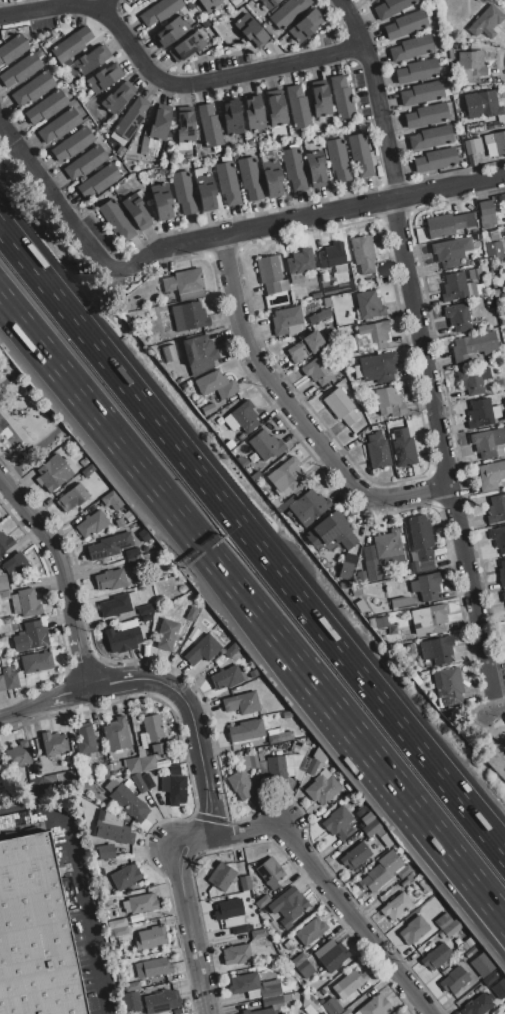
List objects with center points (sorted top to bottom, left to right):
building: (369, 0)
building: (371, 0)
building: (478, 1)
building: (268, 3)
building: (208, 4)
road: (107, 5)
building: (190, 6)
building: (391, 7)
road: (52, 9)
building: (159, 11)
building: (288, 12)
building: (486, 22)
building: (406, 24)
building: (305, 26)
building: (172, 31)
building: (252, 31)
road: (357, 31)
building: (71, 45)
building: (187, 46)
building: (412, 48)
building: (12, 49)
building: (89, 61)
building: (471, 66)
building: (20, 70)
building: (418, 70)
building: (103, 78)
road: (218, 79)
building: (33, 89)
road: (376, 91)
building: (423, 93)
building: (342, 97)
building: (116, 99)
building: (320, 99)
building: (482, 104)
building: (46, 107)
building: (298, 107)
building: (460, 108)
building: (276, 110)
building: (254, 114)
building: (427, 115)
building: (132, 118)
building: (231, 118)
building: (160, 122)
building: (59, 125)
building: (185, 125)
building: (209, 126)
building: (469, 128)
building: (431, 137)
building: (488, 139)
building: (499, 142)
building: (72, 144)
building: (477, 144)
building: (149, 147)
building: (469, 147)
building: (491, 150)
building: (360, 155)
road: (390, 158)
building: (338, 160)
building: (436, 160)
building: (85, 162)
building: (293, 168)
building: (316, 168)
building: (249, 178)
building: (272, 178)
building: (99, 181)
building: (228, 183)
building: (205, 190)
building: (183, 192)
building: (161, 201)
road: (58, 204)
building: (486, 208)
building: (136, 212)
road: (305, 219)
building: (116, 220)
building: (469, 220)
building: (459, 222)
building: (440, 226)
building: (421, 234)
building: (477, 237)
building: (494, 251)
building: (447, 253)
building: (362, 256)
building: (333, 258)
building: (299, 265)
building: (492, 268)
building: (268, 270)
building: (474, 274)
building: (184, 284)
building: (283, 285)
building: (457, 287)
building: (271, 288)
building: (316, 295)
building: (369, 305)
building: (188, 316)
building: (458, 317)
building: (287, 321)
building: (371, 337)
building: (306, 347)
building: (473, 347)
building: (200, 354)
building: (378, 369)
building: (317, 371)
building: (473, 379)
building: (211, 382)
building: (229, 389)
building: (389, 403)
building: (341, 407)
building: (208, 409)
road: (295, 413)
building: (483, 413)
building: (245, 417)
building: (389, 426)
building: (489, 444)
building: (266, 446)
building: (403, 448)
road: (444, 448)
building: (378, 452)
building: (88, 471)
building: (291, 474)
building: (49, 475)
building: (490, 476)
road: (152, 482)
building: (73, 498)
building: (111, 499)
building: (308, 507)
building: (496, 510)
building: (92, 524)
building: (332, 532)
building: (419, 539)
building: (498, 539)
road: (250, 541)
building: (5, 543)
road: (56, 549)
building: (103, 549)
building: (383, 553)
building: (132, 554)
building: (134, 562)
building: (14, 563)
building: (425, 566)
building: (414, 567)
building: (346, 570)
building: (502, 572)
building: (110, 580)
building: (426, 586)
building: (3, 588)
building: (356, 592)
building: (503, 597)
building: (26, 603)
building: (118, 604)
building: (401, 604)
building: (362, 606)
building: (146, 610)
building: (192, 614)
building: (148, 618)
building: (429, 620)
building: (381, 623)
building: (167, 635)
building: (31, 637)
building: (127, 639)
building: (202, 650)
building: (231, 650)
building: (437, 650)
building: (36, 662)
road: (84, 663)
building: (225, 677)
building: (10, 679)
building: (2, 684)
road: (113, 685)
building: (448, 687)
road: (68, 692)
building: (242, 703)
road: (24, 708)
building: (287, 715)
building: (134, 720)
building: (247, 730)
building: (116, 735)
building: (154, 735)
building: (275, 738)
building: (84, 740)
road: (198, 740)
building: (52, 743)
building: (300, 748)
building: (18, 754)
building: (319, 755)
building: (146, 762)
building: (250, 762)
building: (1, 764)
building: (304, 764)
building: (133, 765)
building: (261, 767)
building: (312, 767)
building: (276, 768)
building: (299, 775)
building: (72, 779)
building: (63, 780)
building: (148, 781)
building: (50, 783)
building: (139, 784)
building: (240, 785)
building: (37, 786)
building: (322, 787)
building: (177, 790)
building: (129, 803)
road: (405, 809)
building: (367, 819)
building: (339, 823)
building: (371, 828)
building: (113, 832)
building: (385, 837)
building: (106, 852)
building: (356, 856)
building: (404, 872)
building: (270, 873)
building: (125, 876)
building: (221, 876)
building: (372, 879)
building: (245, 883)
building: (404, 883)
road: (83, 884)
road: (331, 892)
building: (262, 901)
building: (106, 902)
building: (143, 903)
building: (395, 906)
building: (288, 907)
building: (228, 909)
road: (188, 912)
parking lot: (49, 916)
building: (443, 921)
building: (116, 924)
building: (451, 928)
building: (239, 929)
building: (414, 930)
building: (120, 931)
building: (311, 932)
building: (34, 934)
building: (259, 934)
building: (151, 938)
building: (462, 948)
building: (237, 955)
building: (331, 955)
building: (437, 957)
building: (298, 959)
building: (482, 965)
building: (152, 969)
building: (305, 969)
building: (490, 979)
building: (454, 980)
building: (244, 984)
building: (348, 984)
building: (130, 986)
building: (270, 989)
building: (499, 989)
building: (287, 998)
building: (272, 1001)
building: (130, 1002)
building: (162, 1002)
building: (478, 1005)
building: (375, 1006)
building: (332, 1007)
building: (265, 1011)
building: (345, 1012)
building: (504, 1013)

